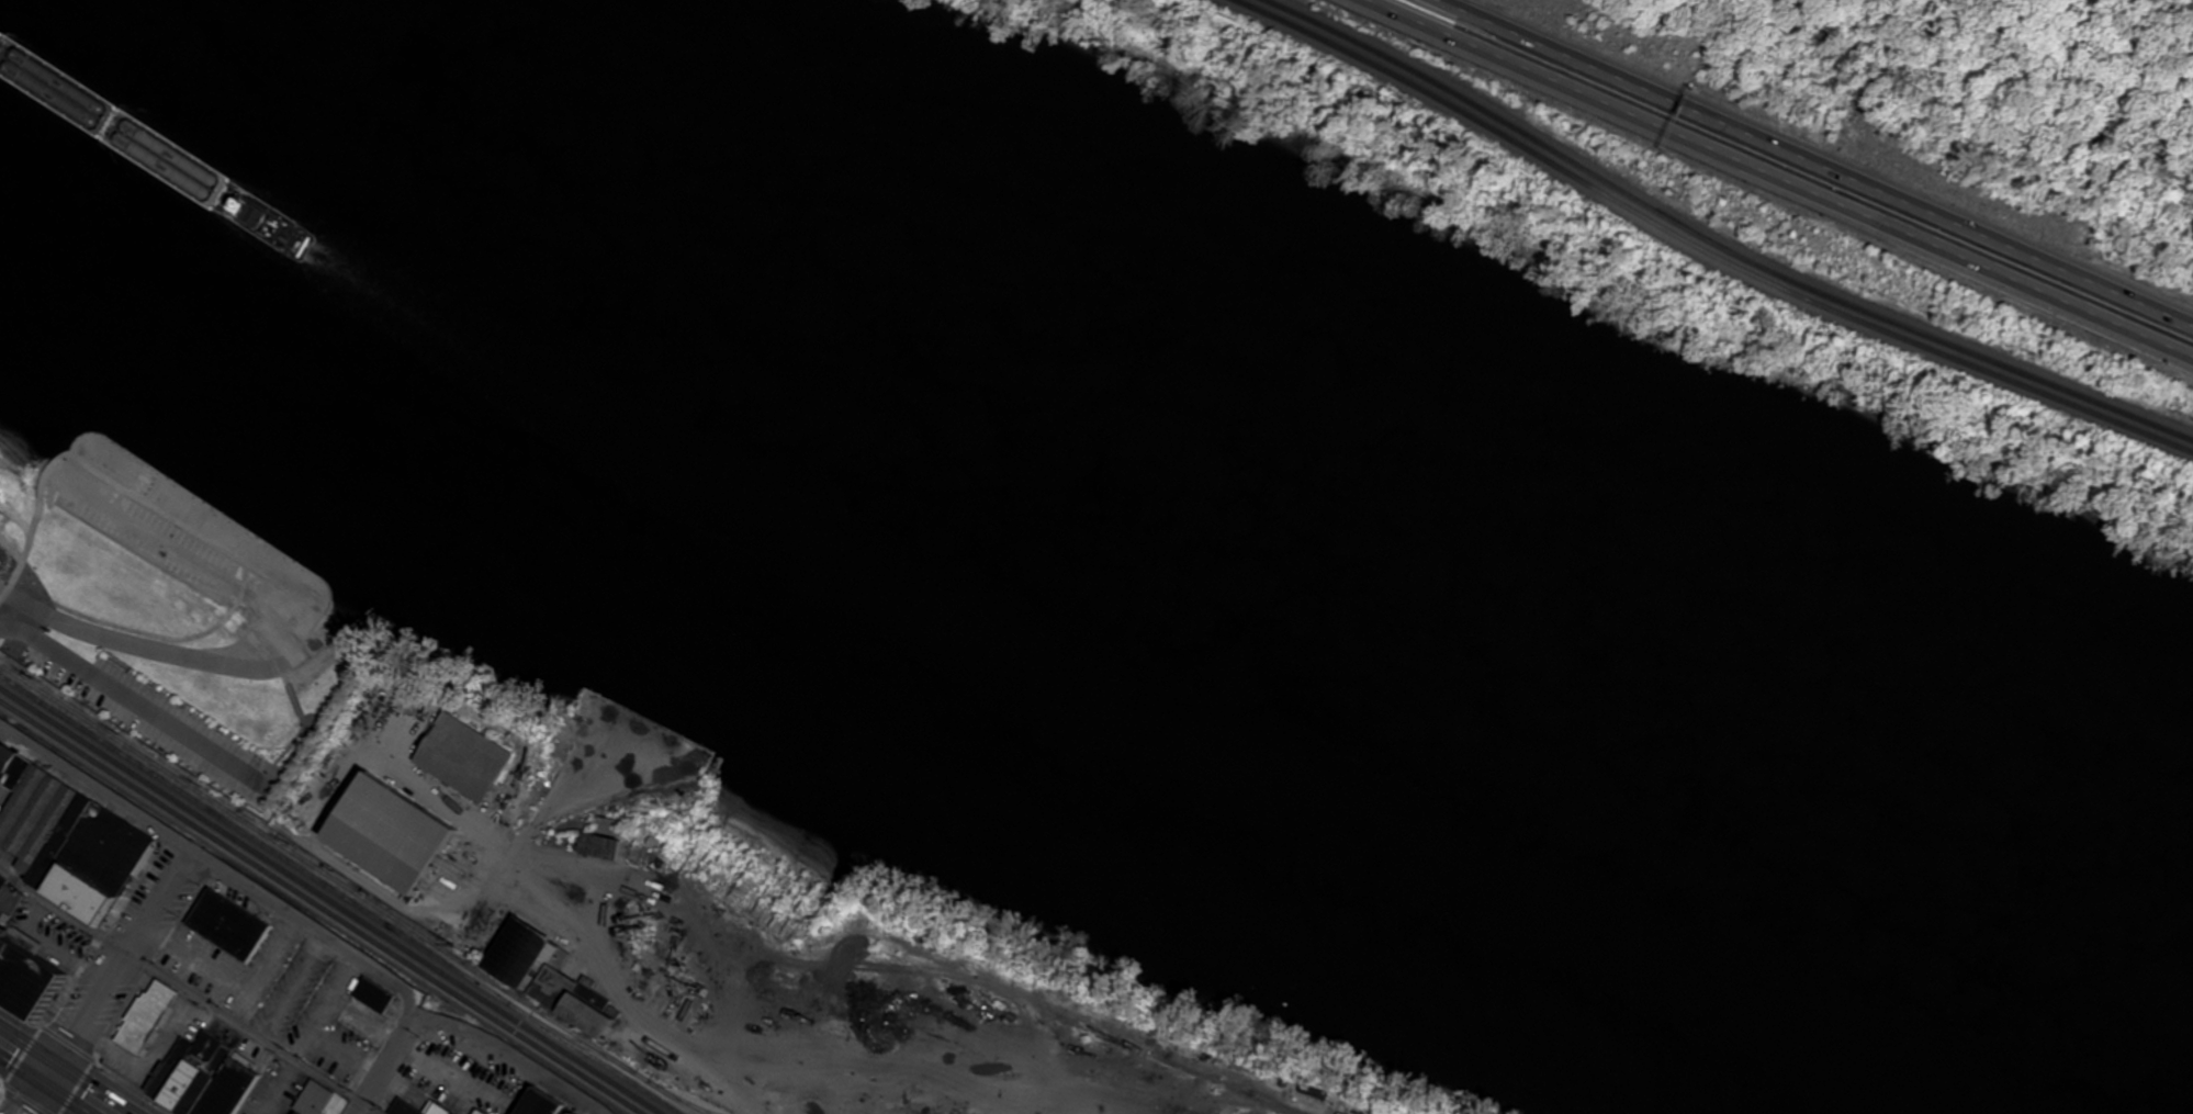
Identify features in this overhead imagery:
road: (1822, 160)
road: (1775, 182)
railway: (1728, 239)
railway: (1707, 245)
road: (78, 461)
road: (106, 461)
road: (70, 473)
road: (120, 485)
road: (123, 488)
road: (112, 498)
parking lot: (147, 528)
river: (1122, 530)
road: (11, 548)
flagpole: (32, 573)
road: (217, 575)
flagpole: (21, 579)
flagpole: (33, 581)
road: (22, 600)
park: (170, 616)
road: (147, 632)
road: (170, 652)
road: (281, 674)
road: (138, 702)
road: (304, 718)
parking lot: (165, 722)
road: (304, 725)
building: (460, 751)
road: (290, 754)
building: (381, 826)
railway: (317, 867)
railway: (342, 893)
railway: (331, 899)
railway: (323, 905)
road: (303, 923)
building: (226, 925)
building: (515, 950)
road: (123, 963)
building: (18, 976)
road: (189, 991)
building: (564, 999)
building: (145, 1014)
railway: (1095, 1031)
railway: (583, 1043)
road: (23, 1055)
road: (383, 1065)
traffic signals: (47, 1070)
railway: (1077, 1076)
building: (203, 1082)
road: (33, 1092)
road: (80, 1092)
railway: (667, 1092)
building: (311, 1098)
railway: (682, 1099)
road: (1065, 1102)

